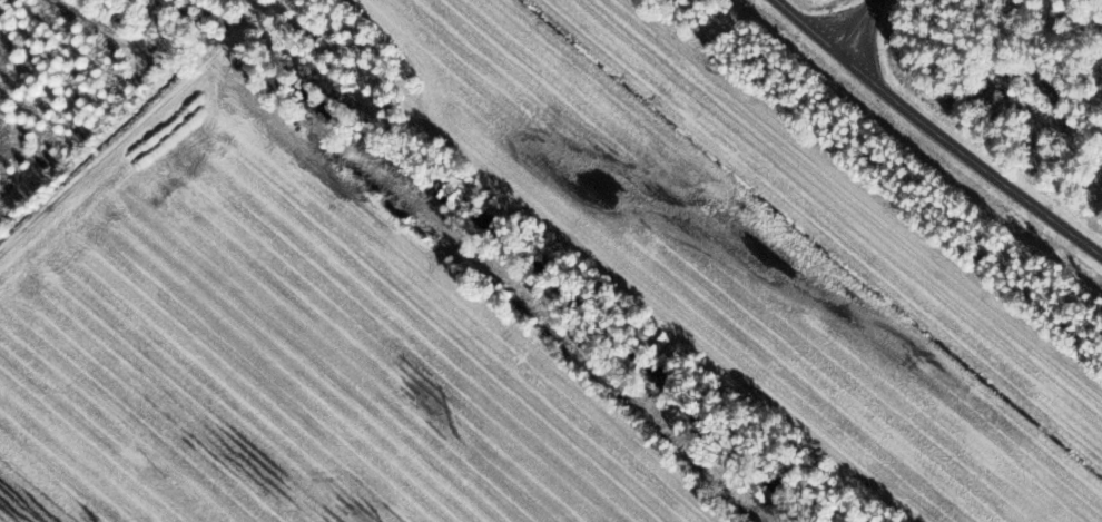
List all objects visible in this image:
road: (859, 26)
road: (938, 131)

